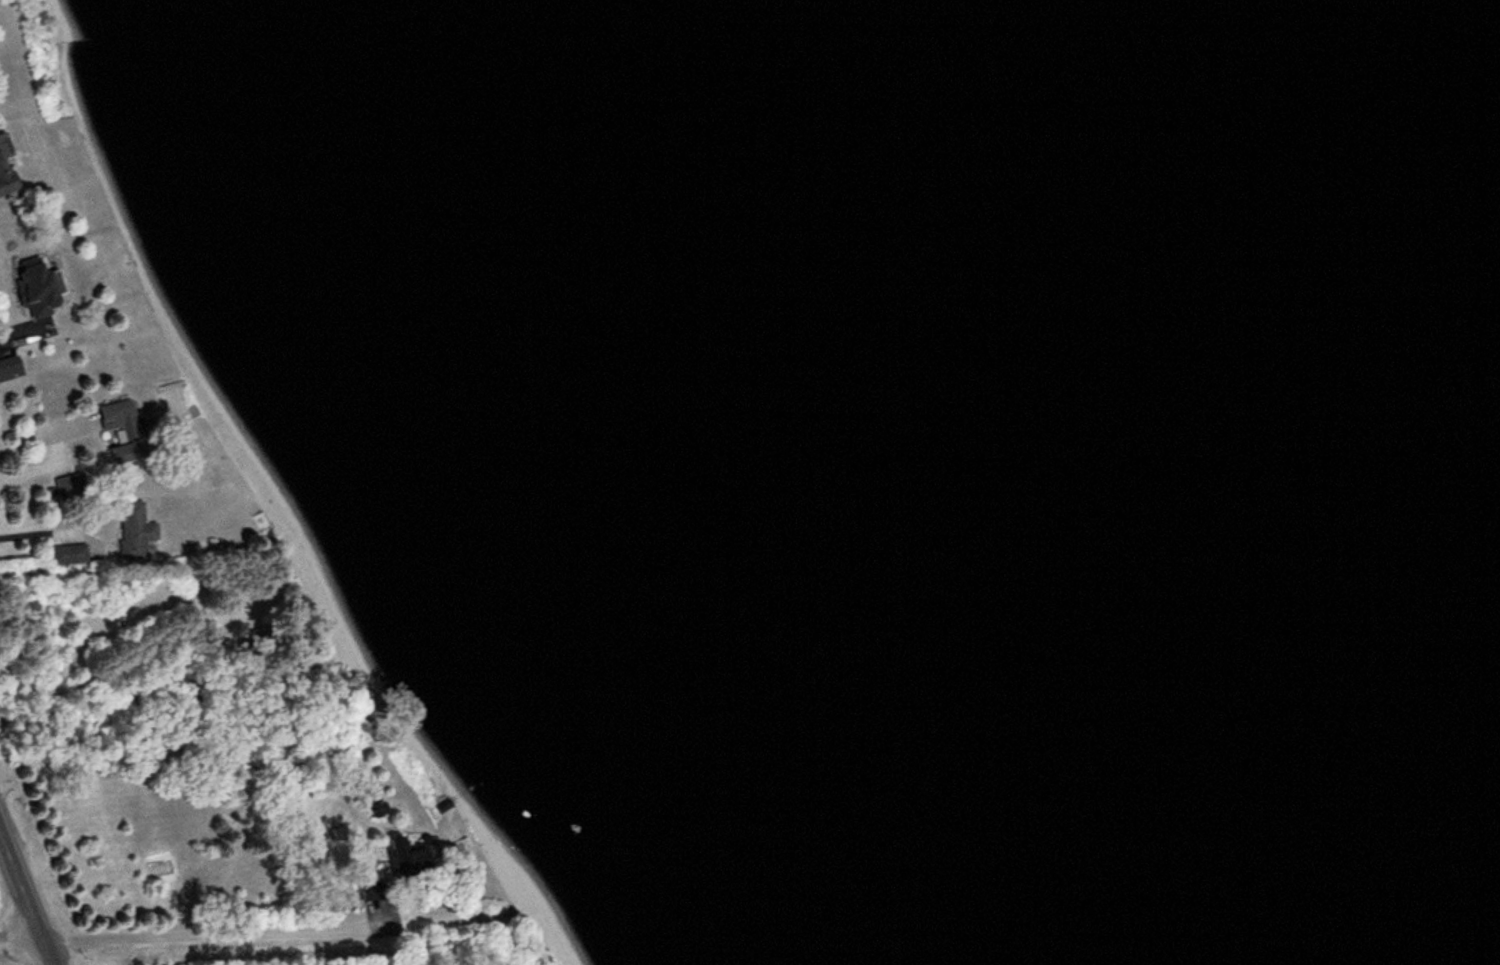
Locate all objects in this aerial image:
building: (0, 154)
building: (2, 183)
building: (35, 295)
building: (113, 433)
building: (69, 488)
building: (256, 522)
building: (132, 536)
building: (68, 555)
building: (391, 851)
road: (25, 900)
road: (256, 931)

